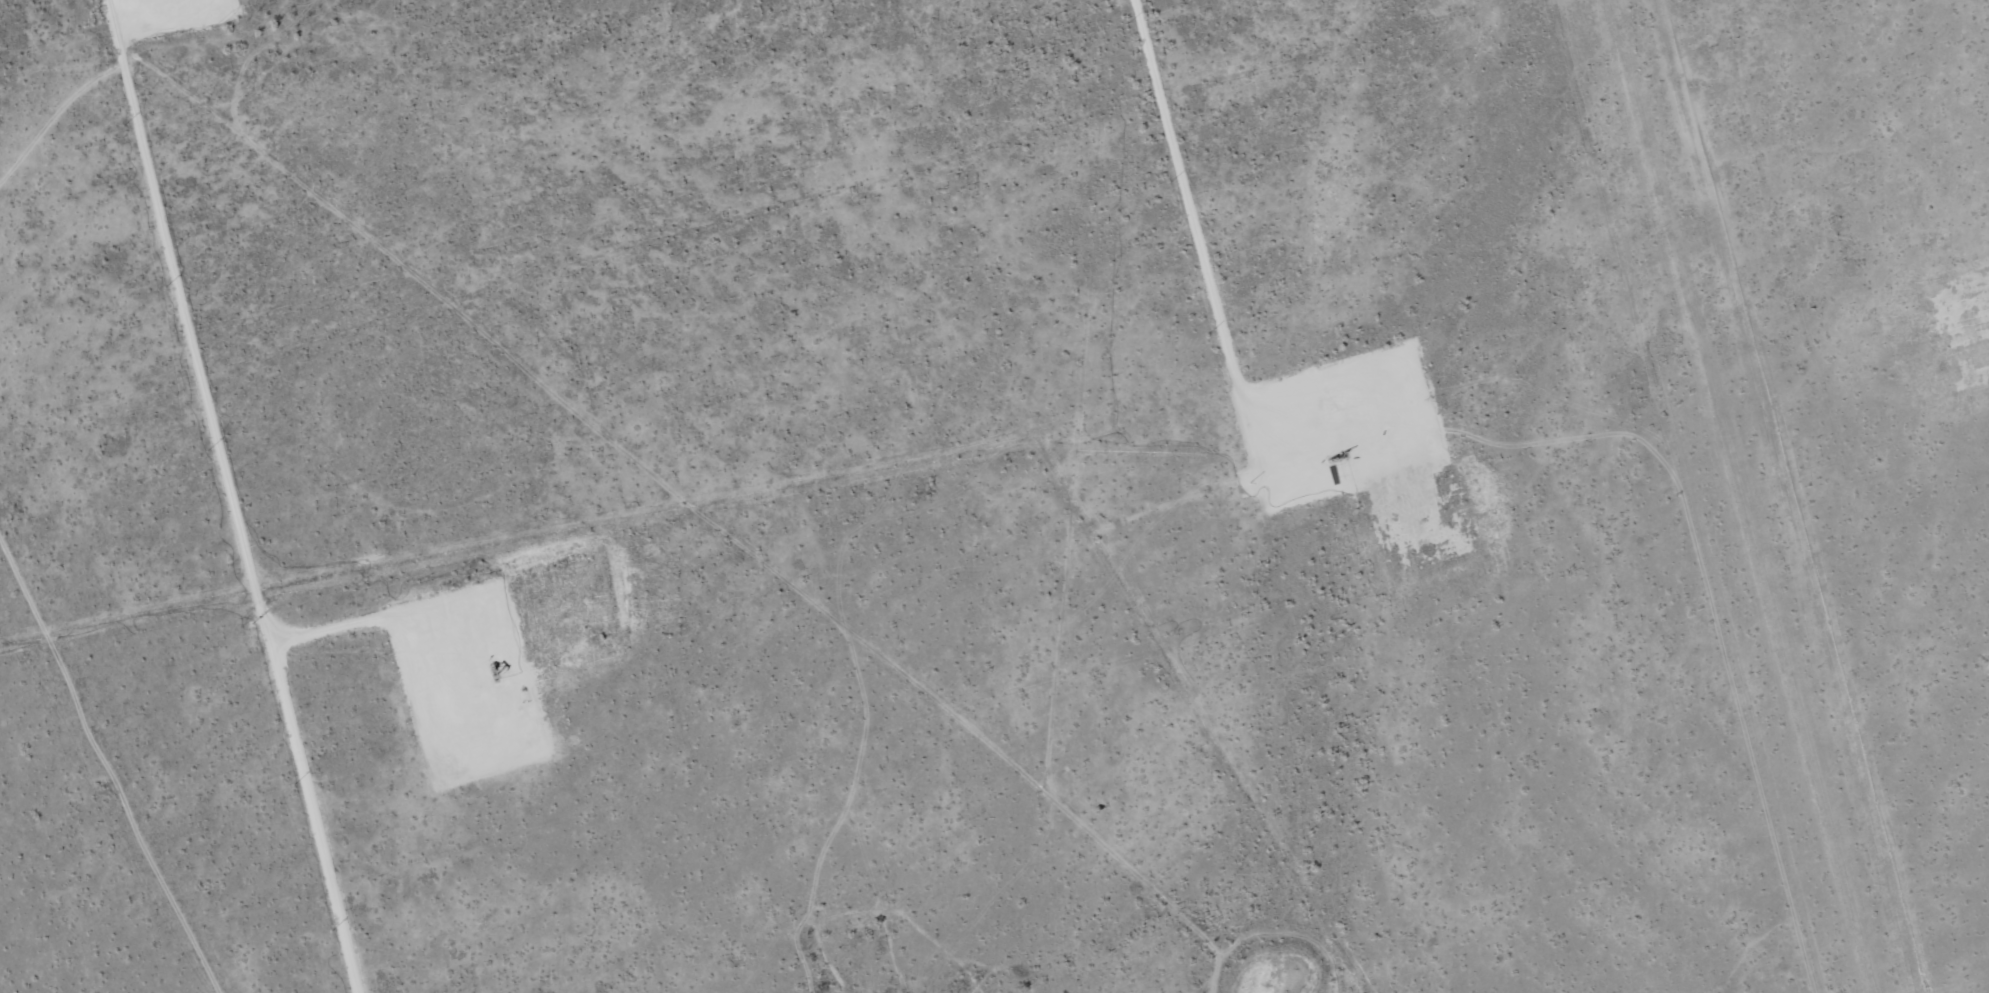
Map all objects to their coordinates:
road: (1205, 254)

